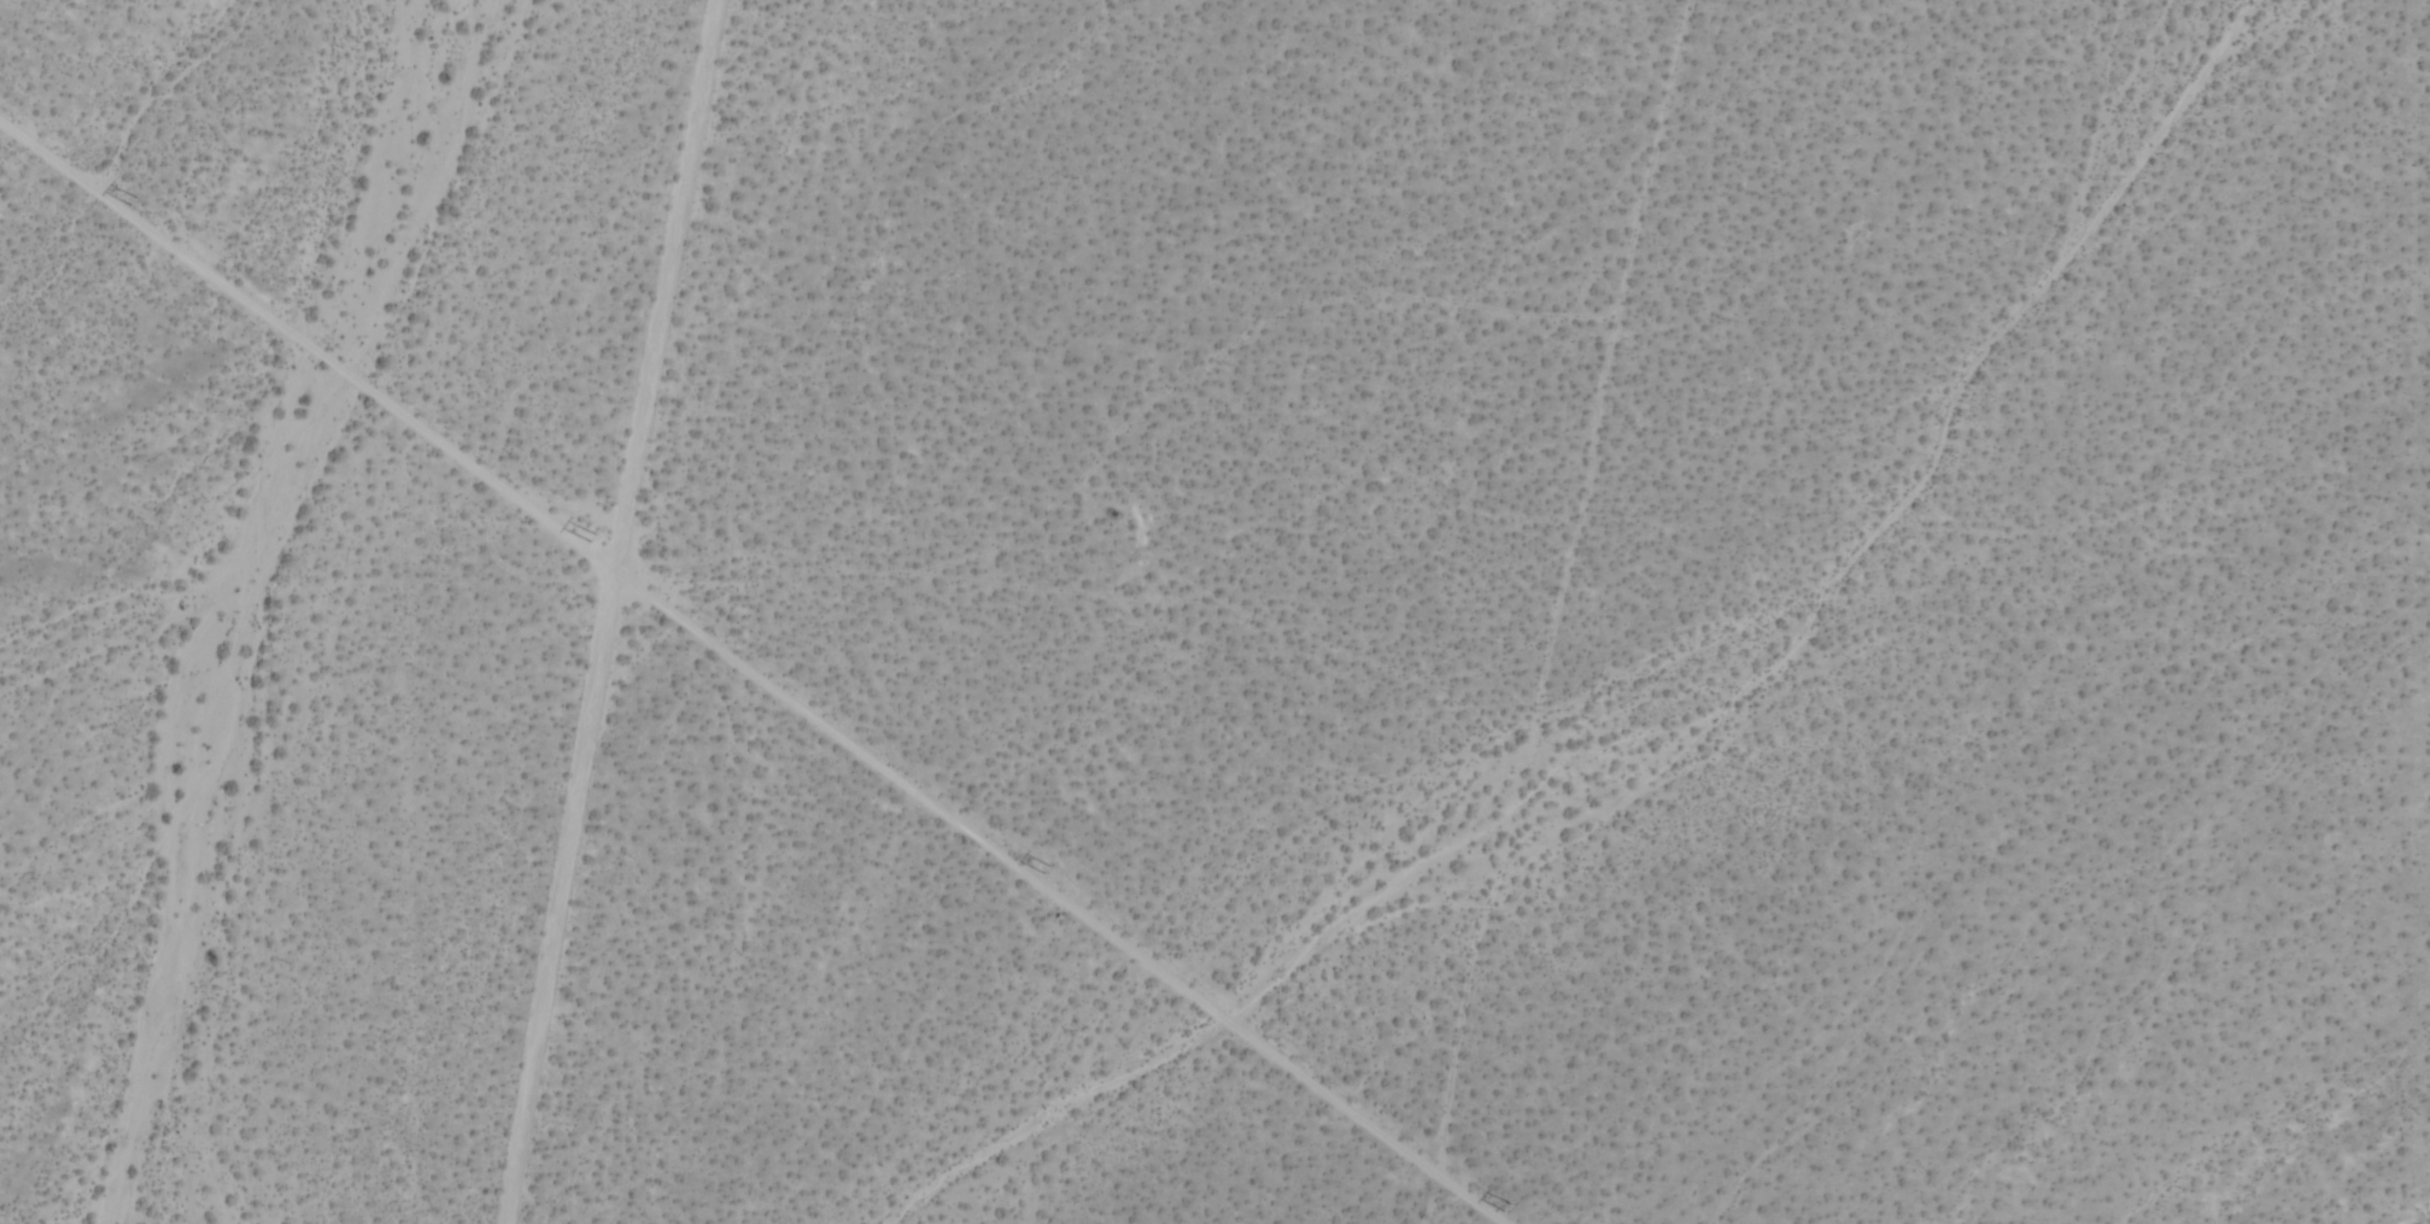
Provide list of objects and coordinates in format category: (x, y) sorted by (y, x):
power tower: (136, 211)
power tower: (590, 543)
road: (748, 679)
power tower: (1047, 875)
power tower: (1506, 1210)

